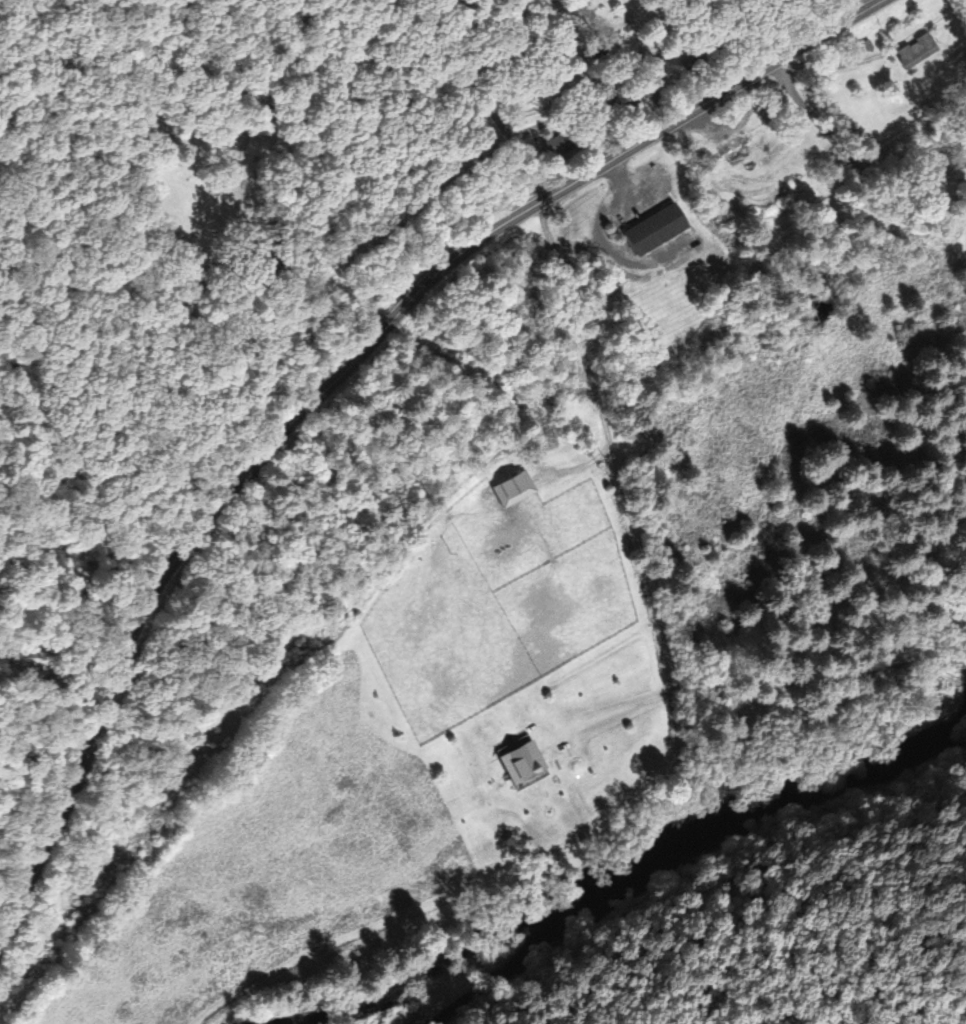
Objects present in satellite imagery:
road: (484, 10)
building: (594, 51)
building: (914, 51)
road: (310, 70)
road: (492, 105)
road: (850, 150)
building: (648, 229)
road: (352, 378)
building: (509, 490)
road: (627, 583)
road: (961, 683)

